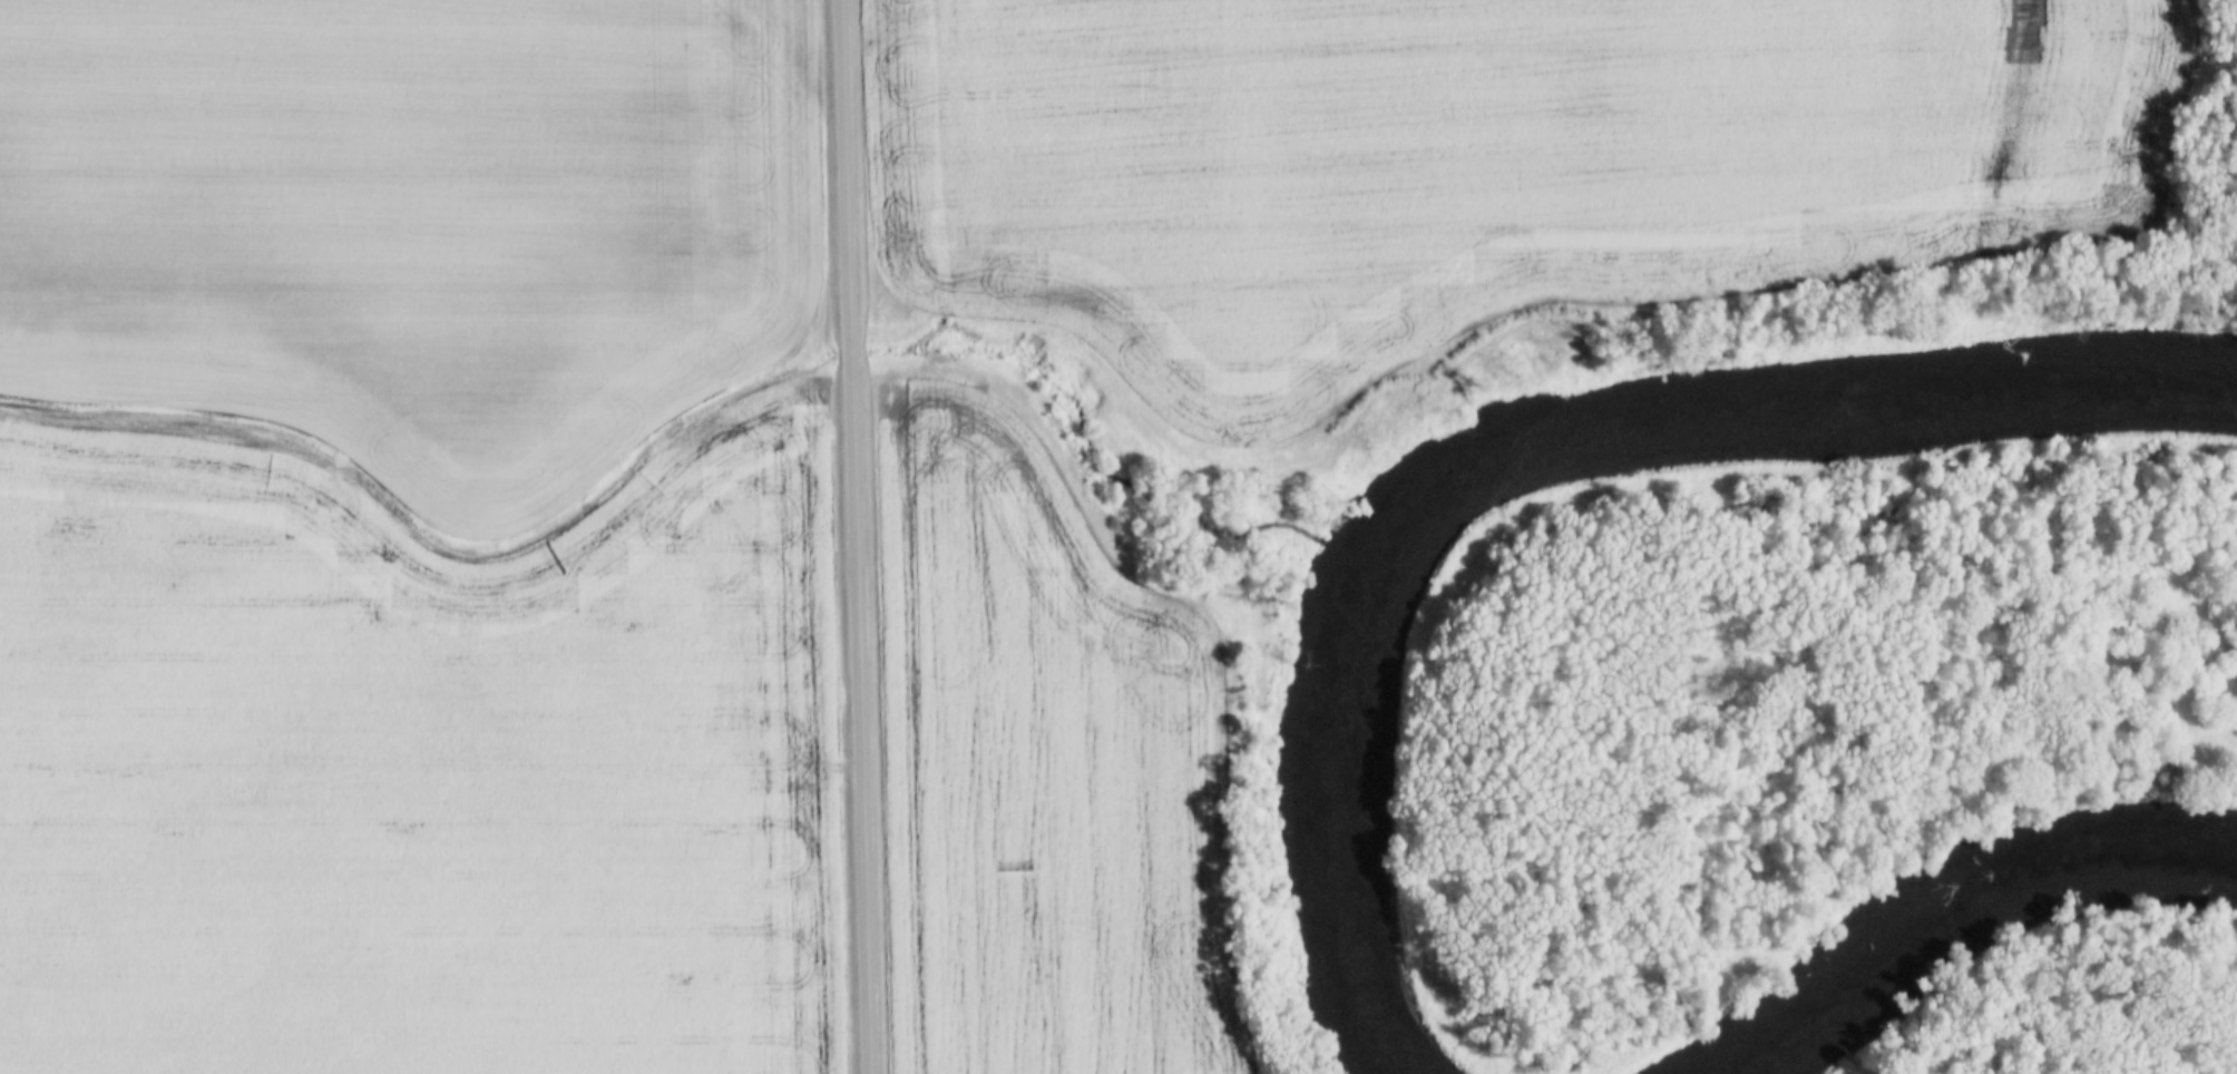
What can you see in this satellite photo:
river: (1794, 398)
road: (857, 536)
river: (1336, 820)
river: (1961, 901)

